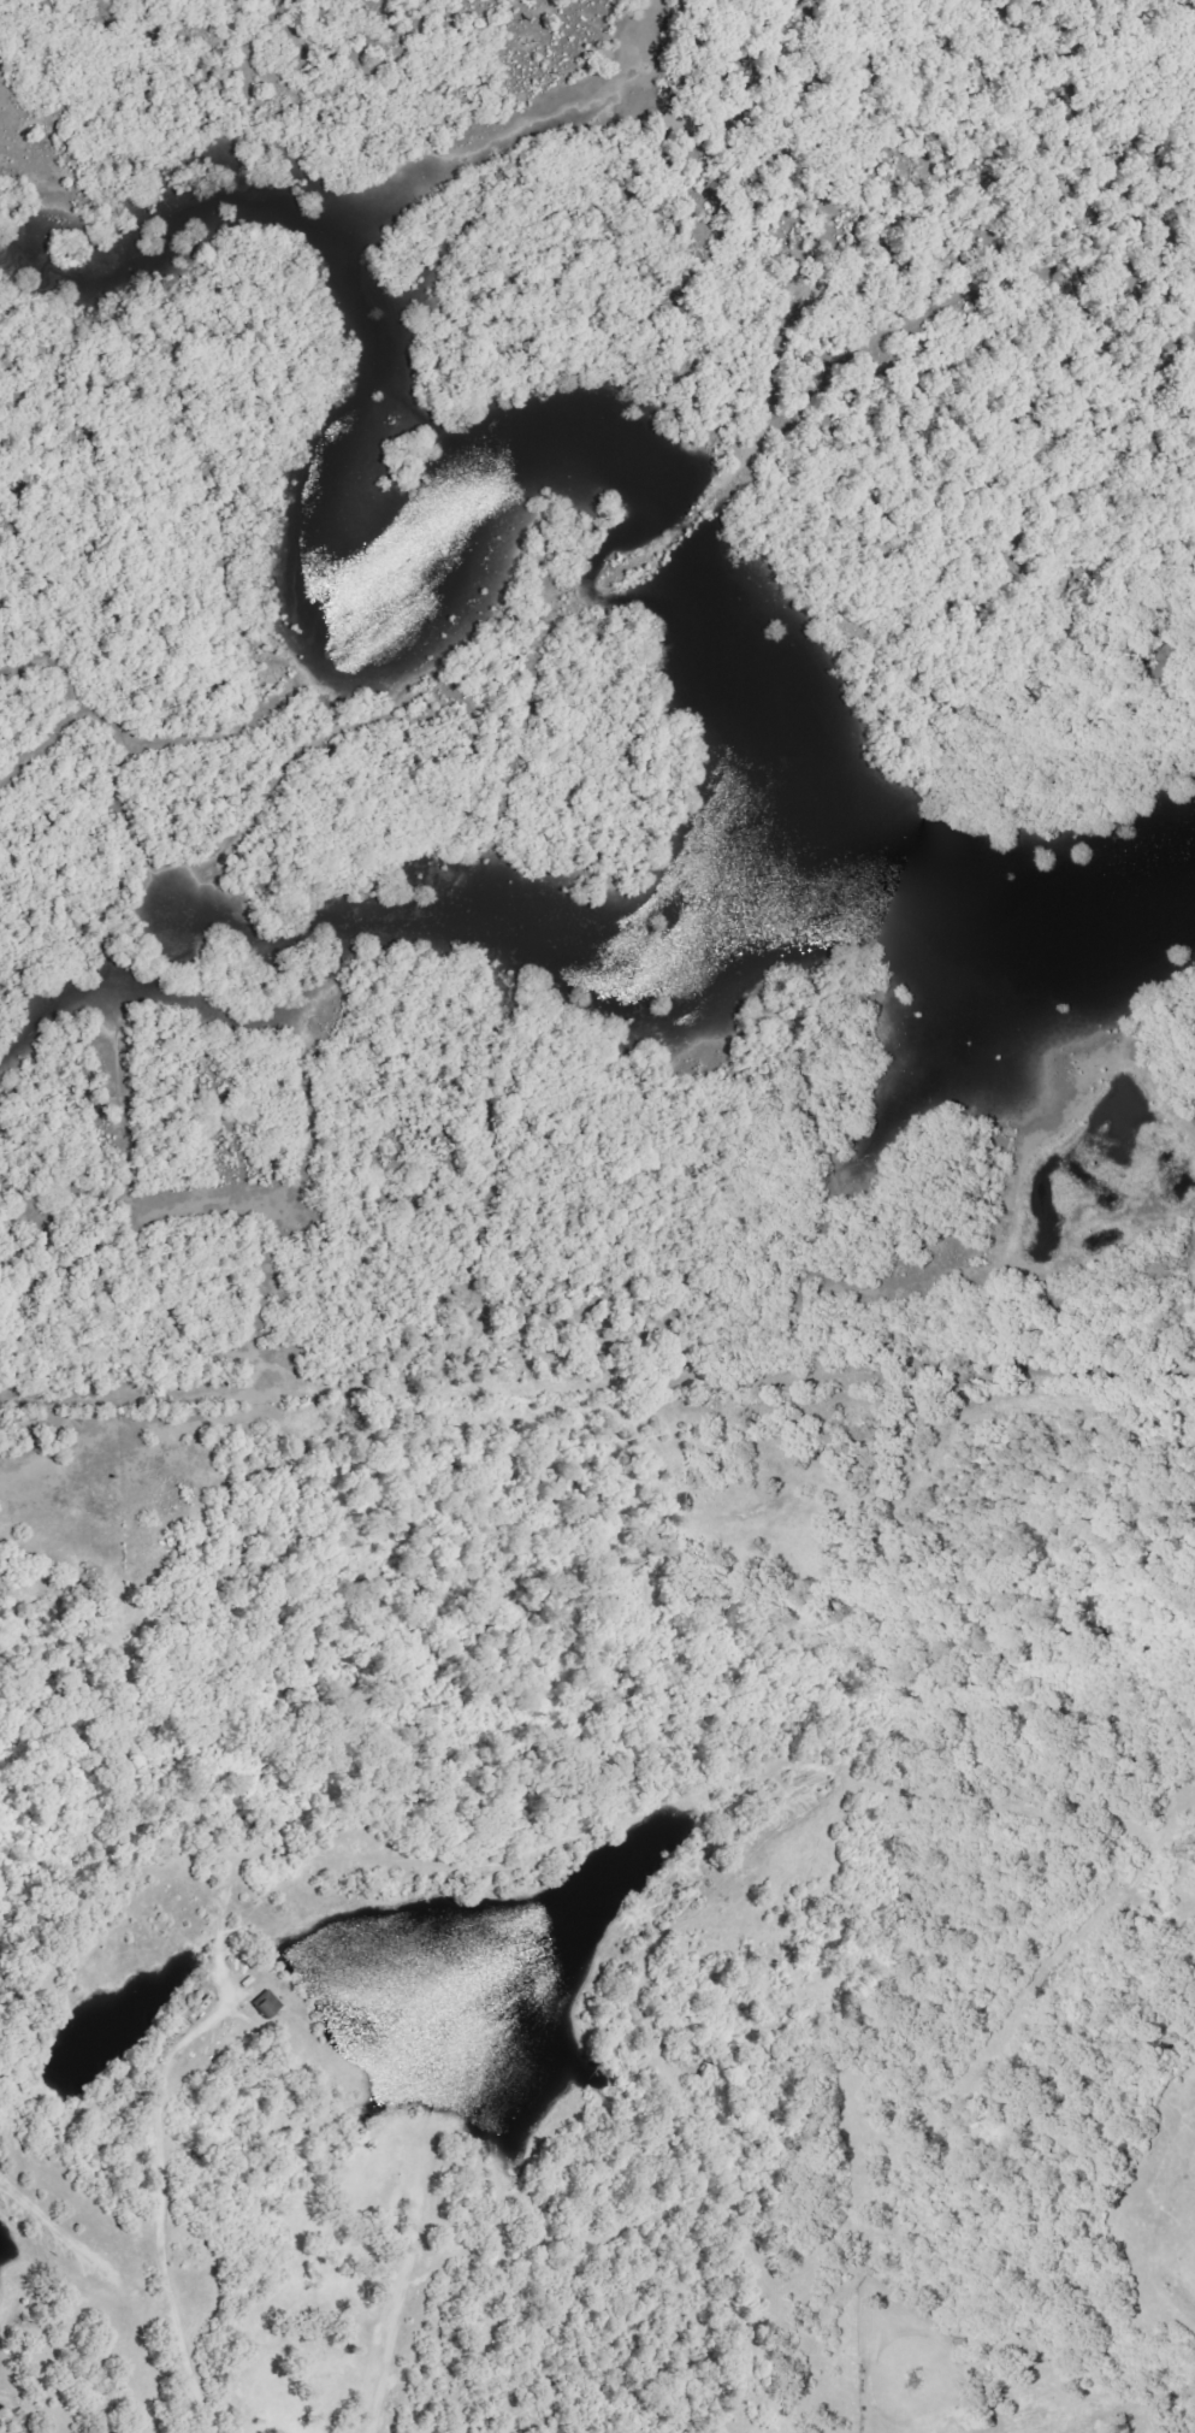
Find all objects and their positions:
road: (160, 2225)

